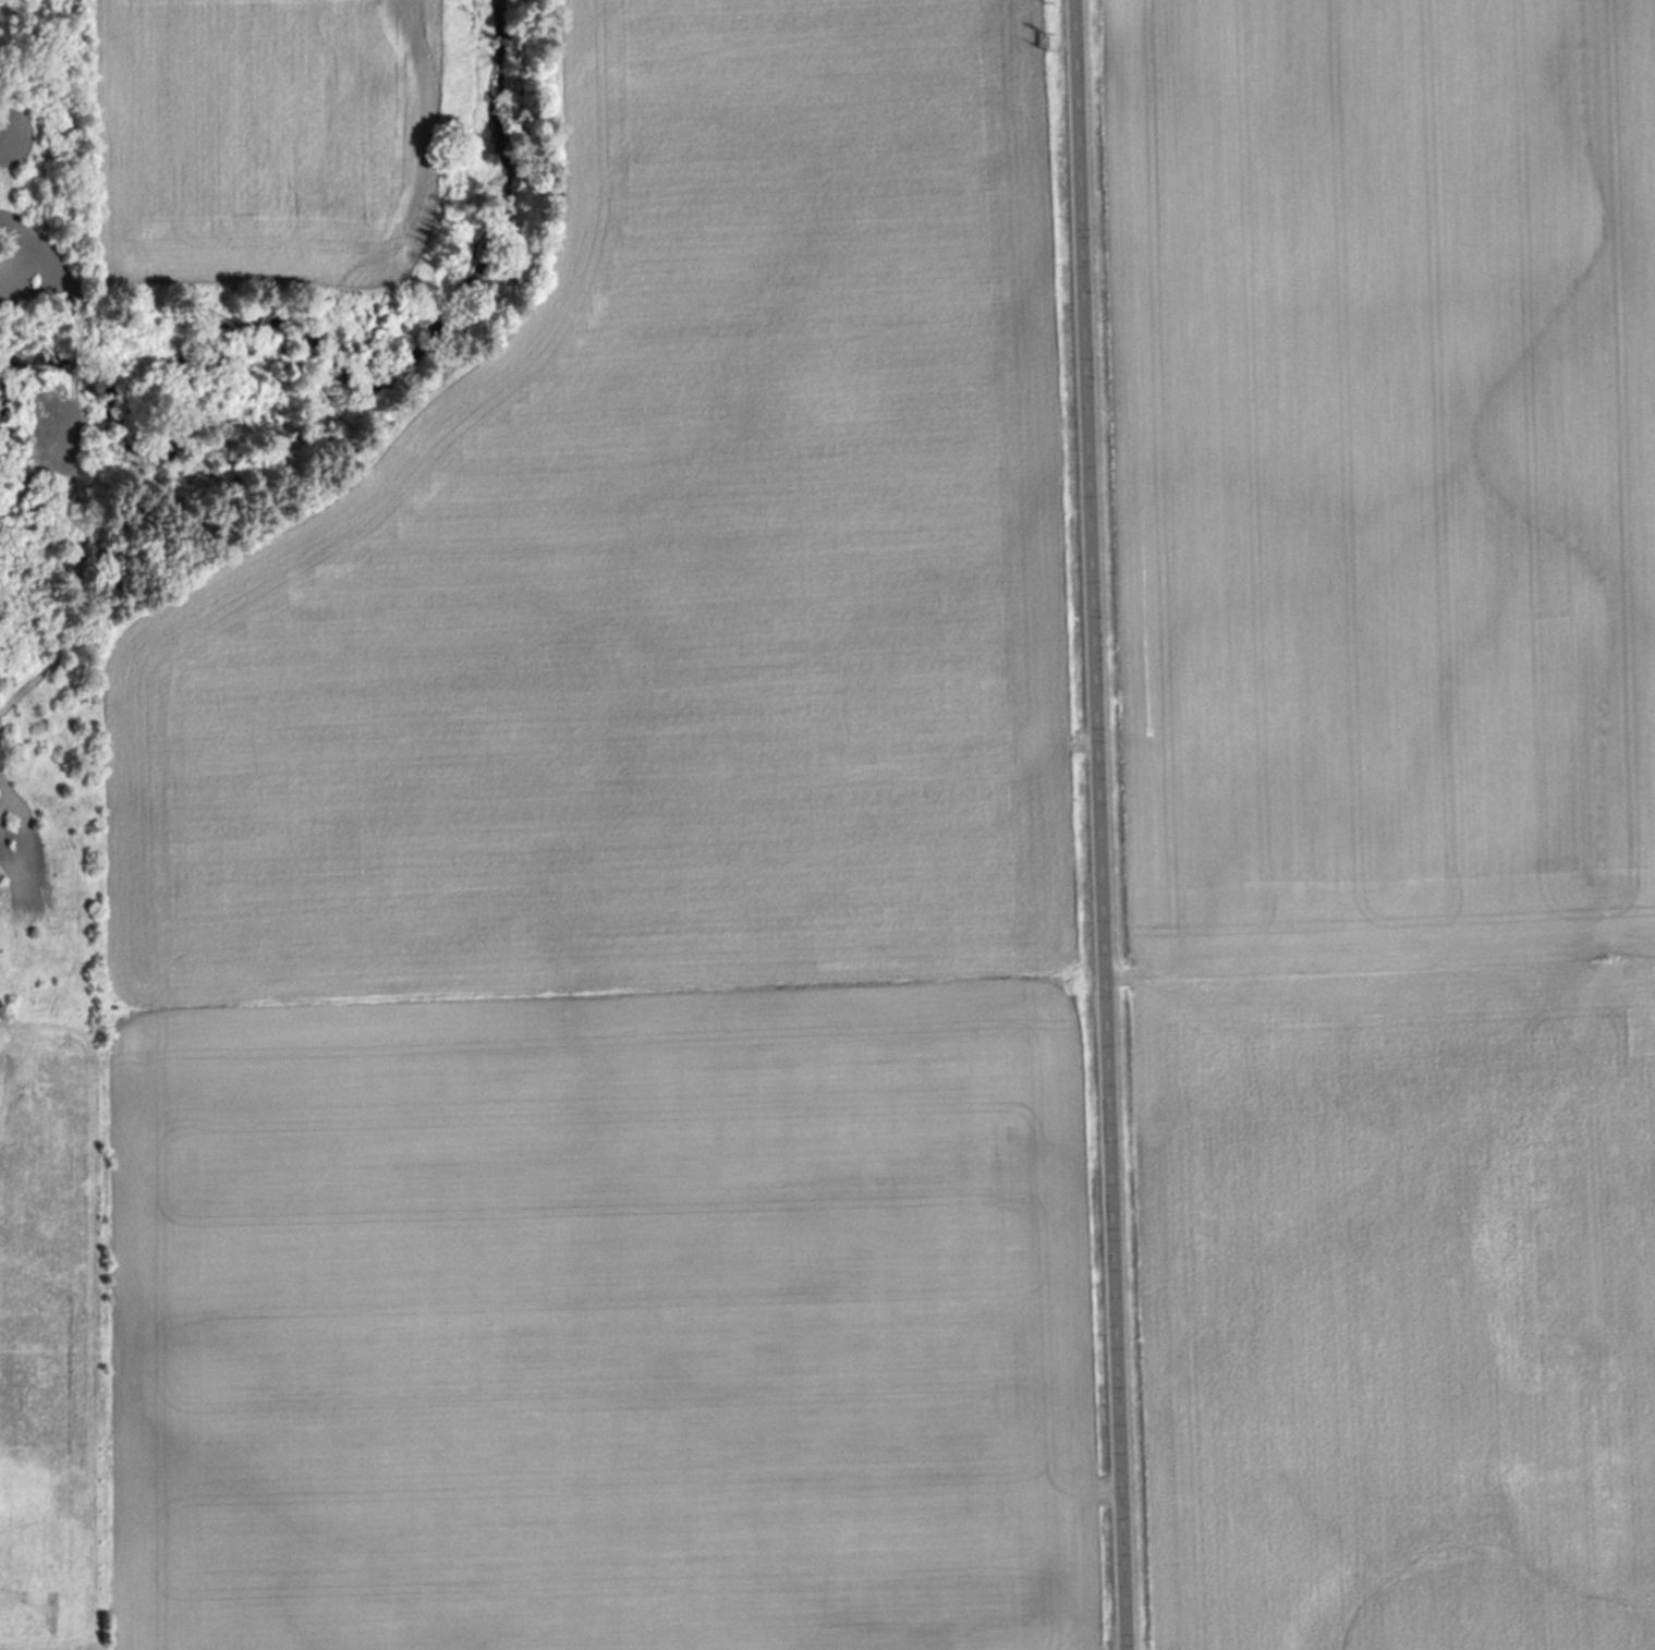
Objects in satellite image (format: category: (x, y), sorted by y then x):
river: (337, 354)
road: (1093, 825)

